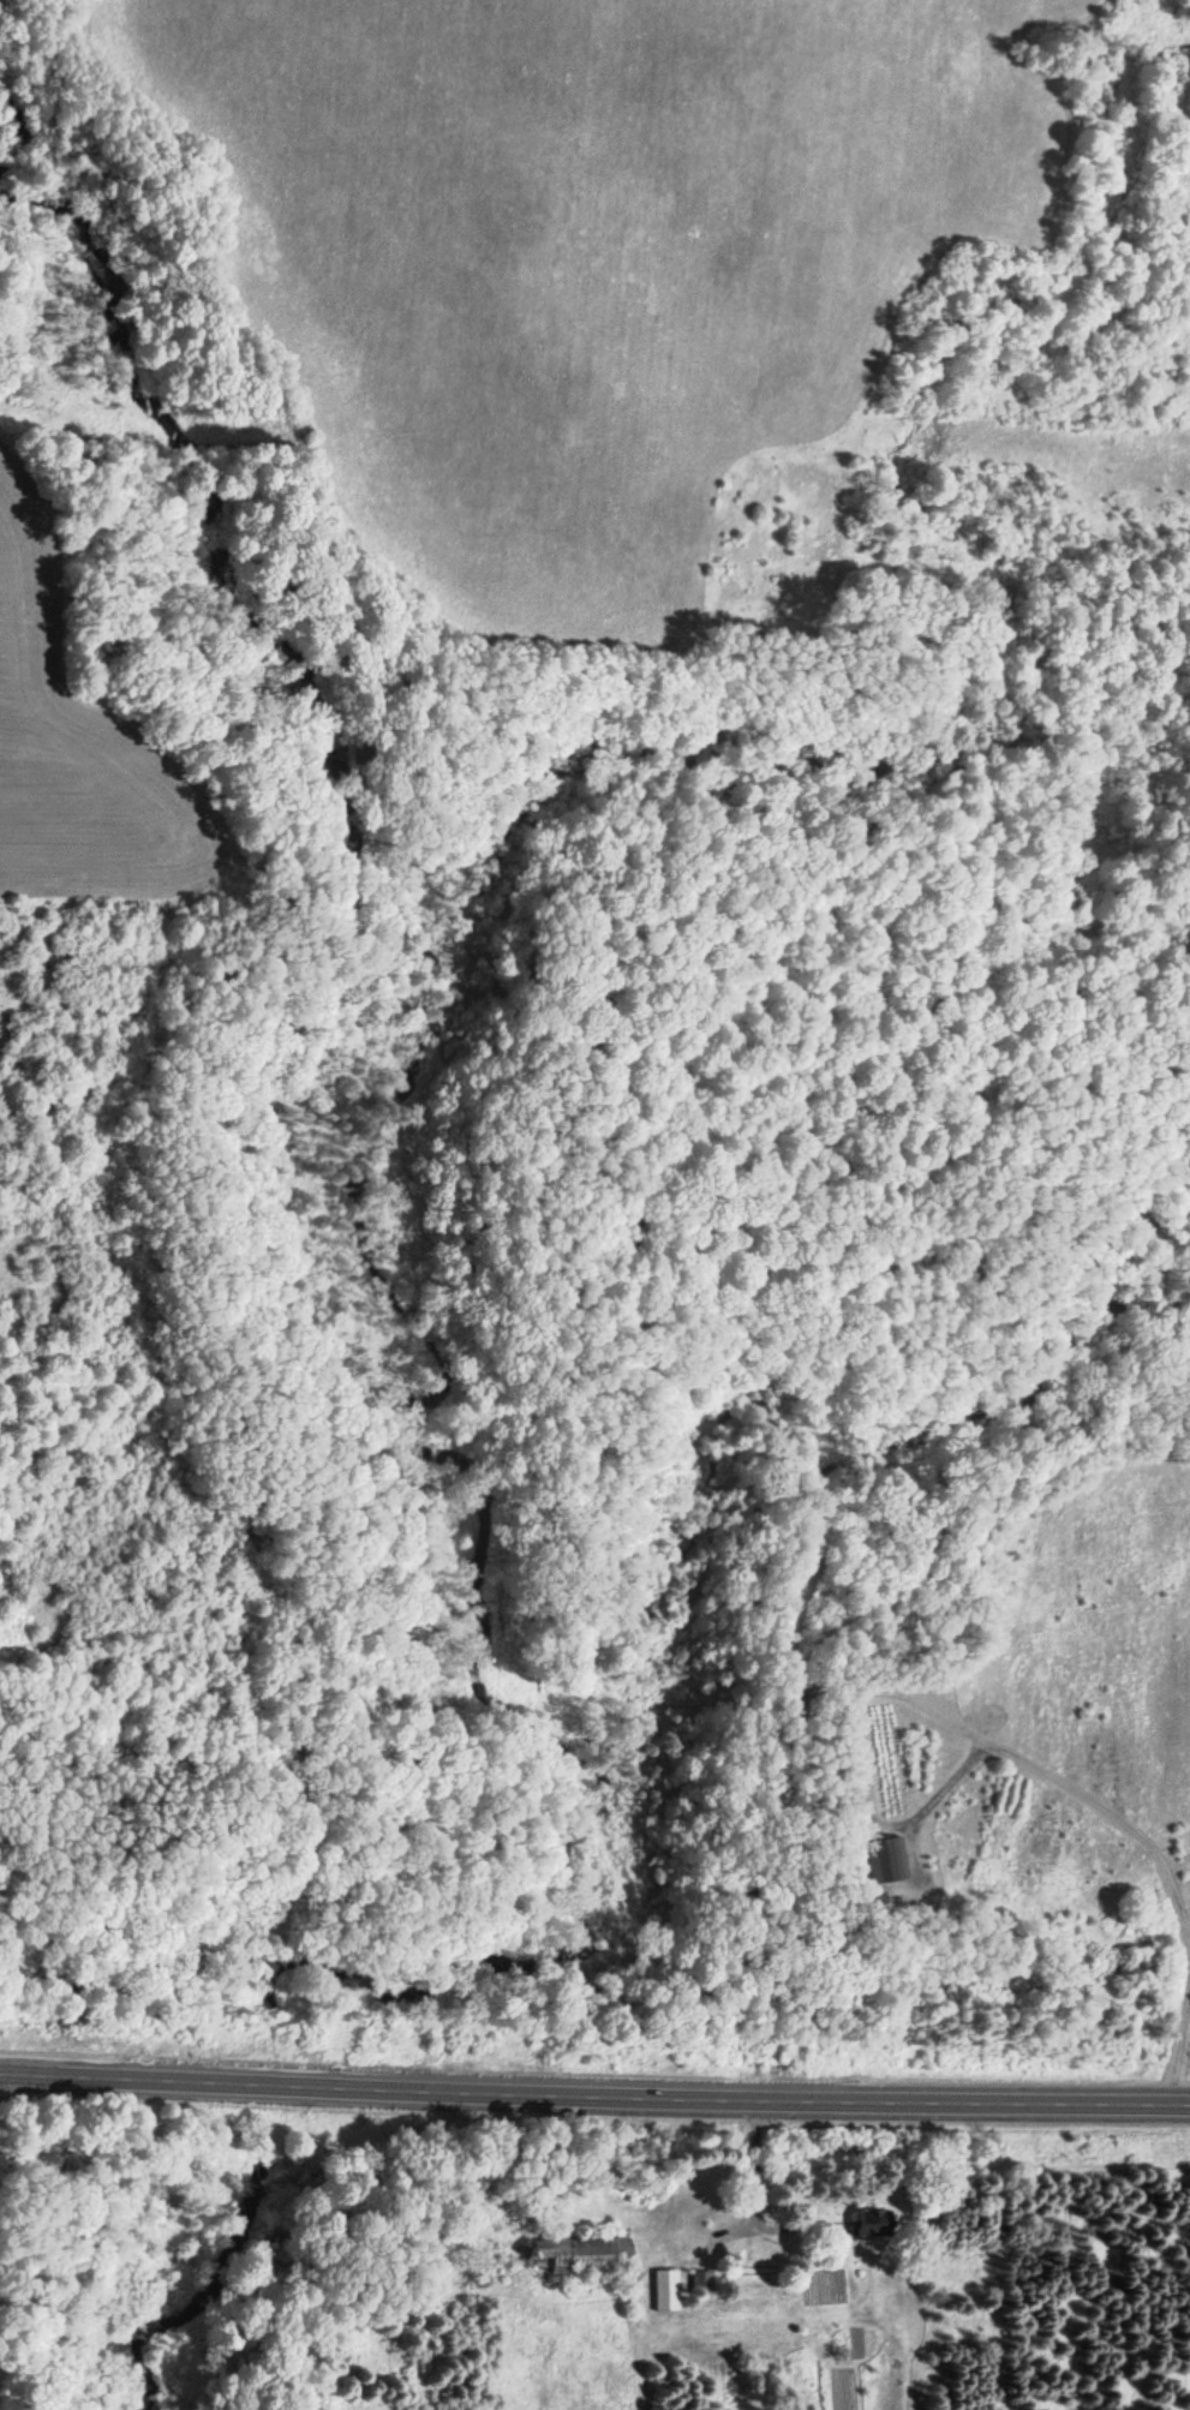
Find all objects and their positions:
building: (886, 1860)
road: (185, 2080)
road: (779, 2097)
building: (873, 2221)
building: (587, 2254)
building: (668, 2290)

